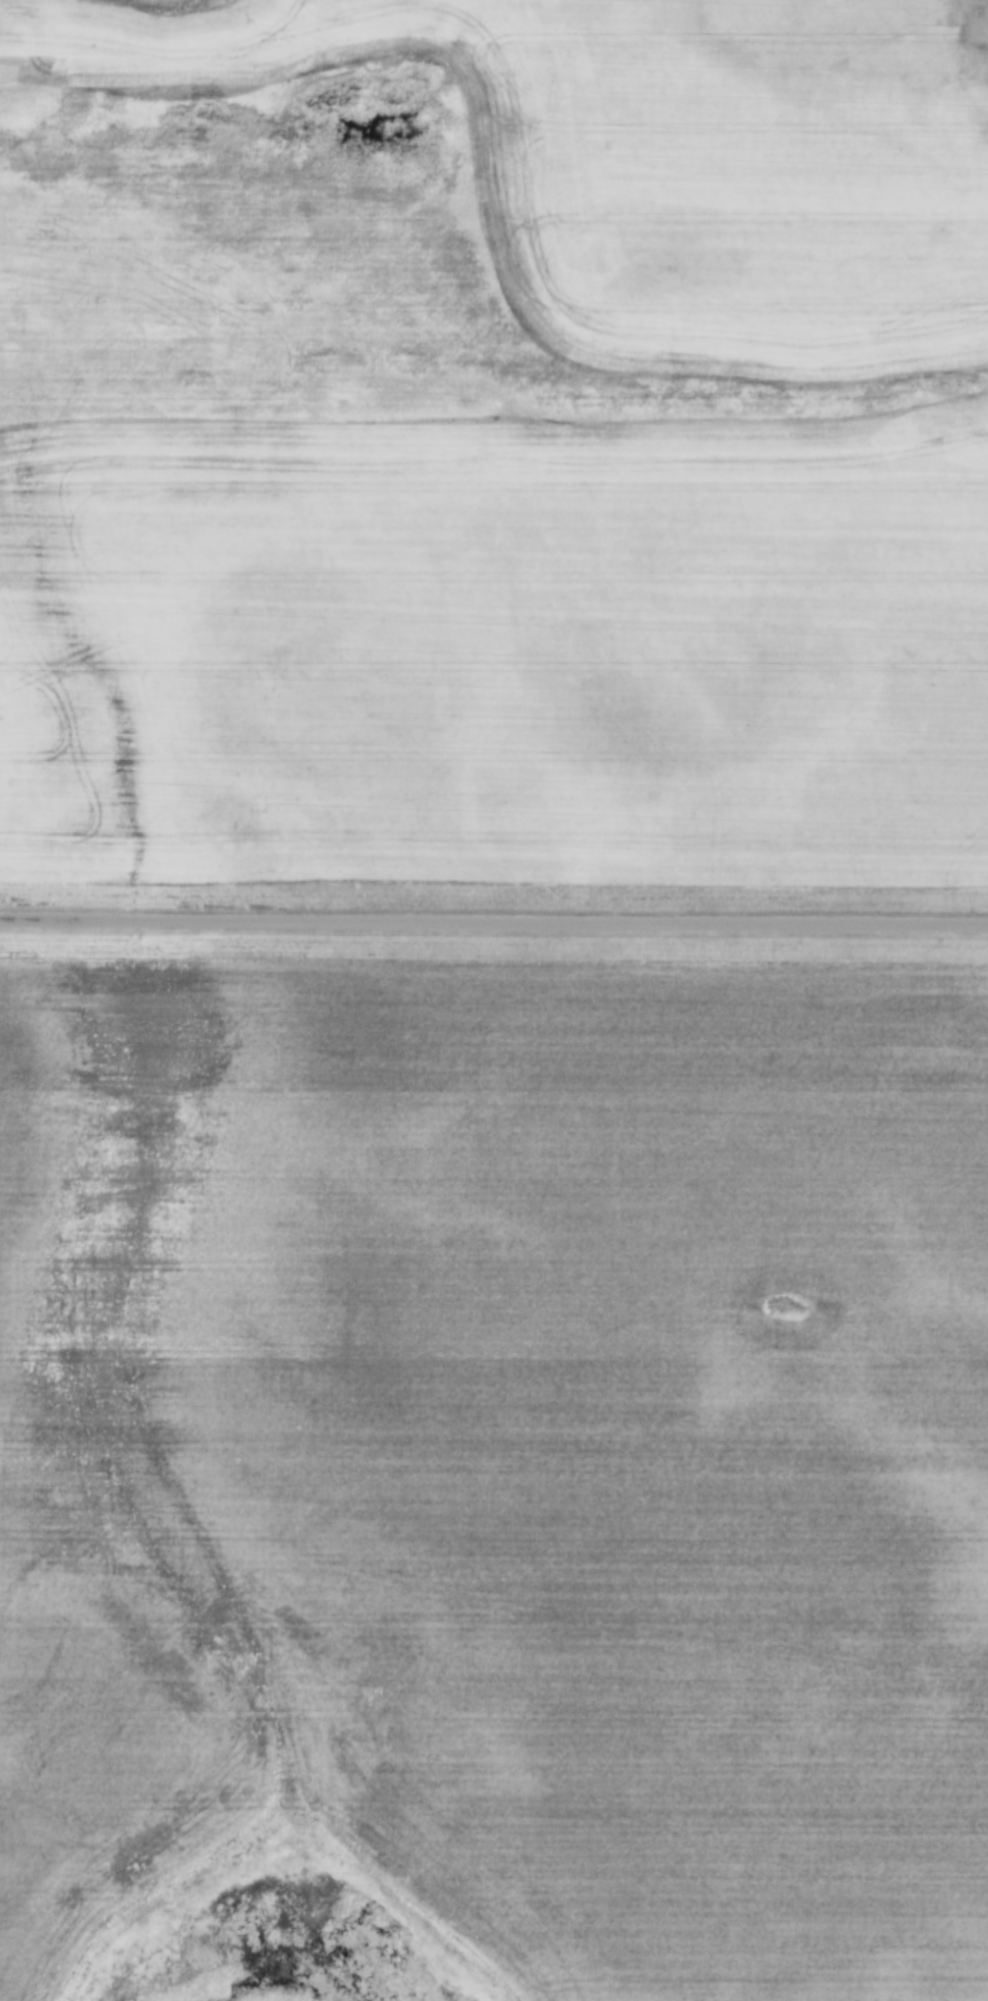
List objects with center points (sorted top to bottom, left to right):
road: (493, 922)

